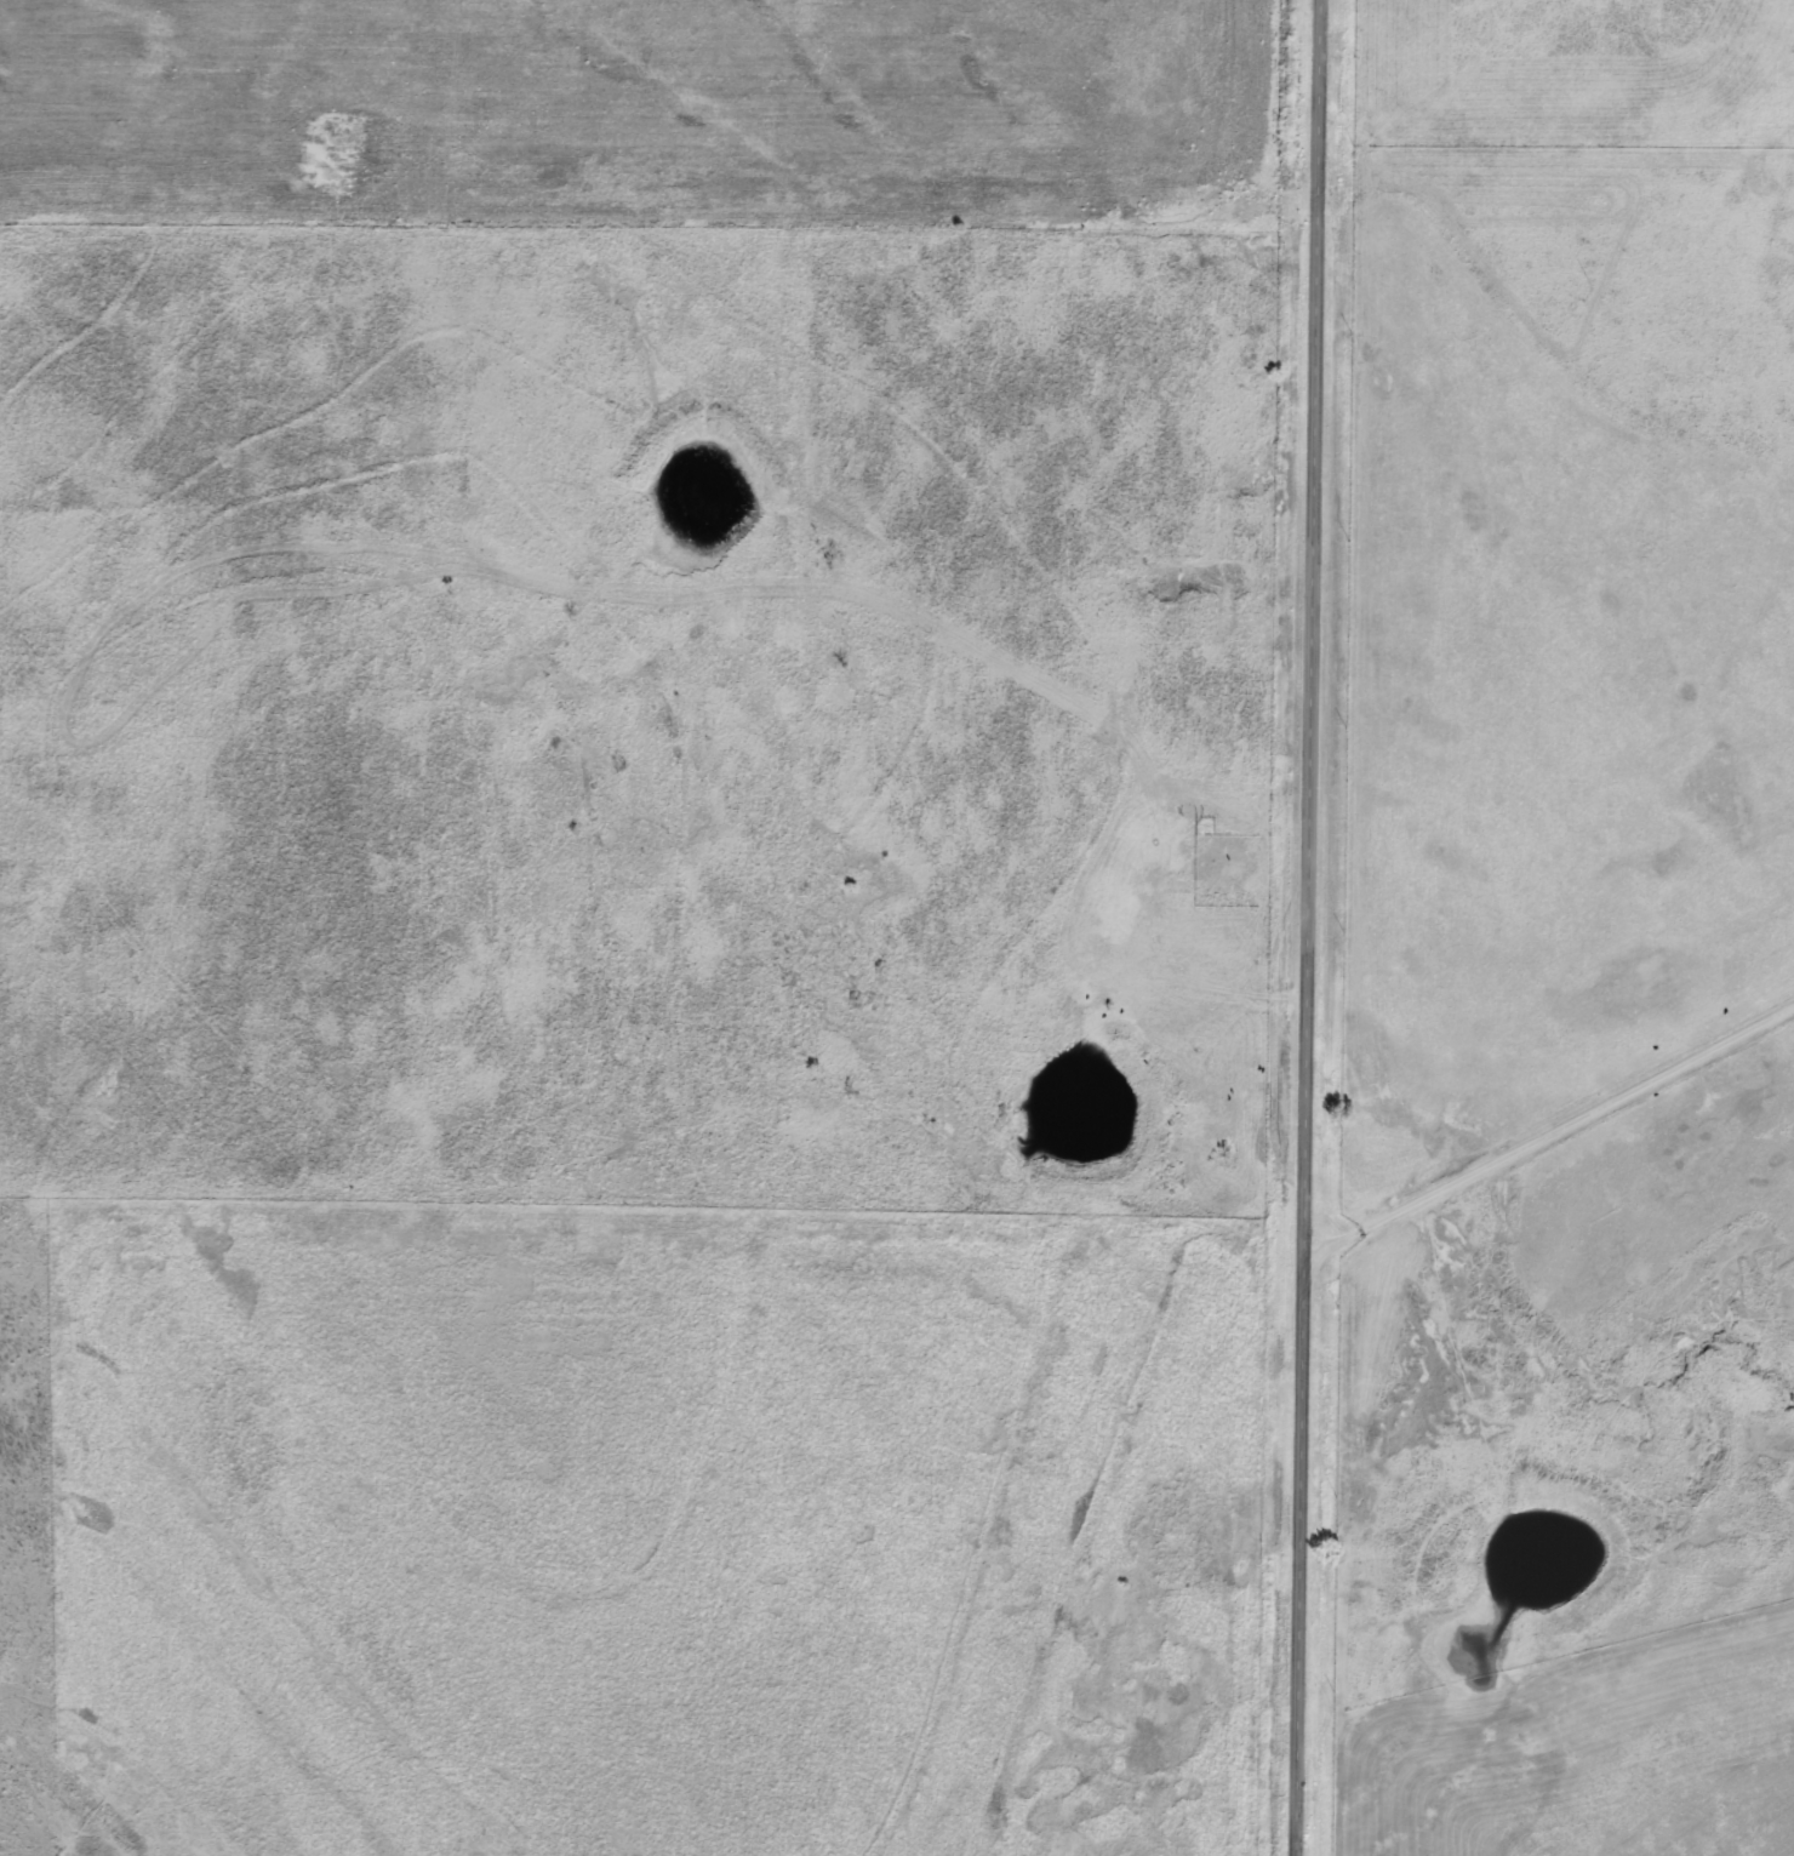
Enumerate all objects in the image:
road: (1303, 927)
road: (1552, 1119)

